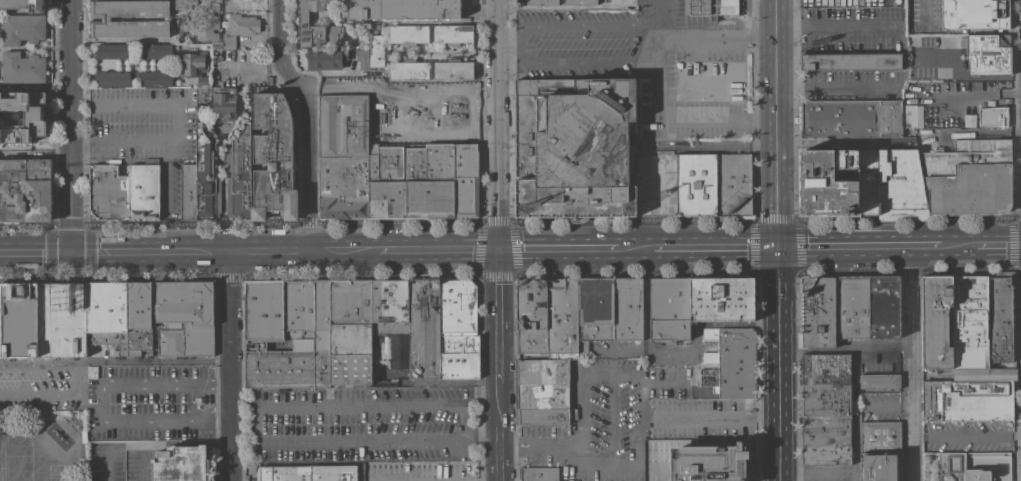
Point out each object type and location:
building: (542, 1)
building: (581, 2)
building: (24, 4)
building: (238, 4)
building: (710, 7)
building: (404, 9)
road: (925, 10)
building: (975, 14)
building: (304, 17)
building: (109, 18)
building: (243, 24)
road: (835, 24)
building: (208, 26)
building: (22, 28)
road: (652, 30)
building: (334, 34)
building: (409, 34)
building: (453, 34)
building: (943, 37)
building: (229, 41)
road: (506, 42)
road: (778, 42)
building: (217, 43)
building: (114, 50)
building: (157, 50)
building: (378, 50)
building: (982, 55)
building: (325, 58)
building: (362, 58)
road: (528, 60)
building: (851, 61)
building: (194, 65)
road: (253, 66)
building: (23, 68)
building: (409, 69)
building: (454, 69)
building: (114, 77)
building: (156, 77)
road: (838, 85)
building: (912, 87)
road: (343, 89)
building: (468, 90)
road: (975, 93)
building: (220, 102)
road: (478, 105)
road: (381, 110)
building: (34, 115)
road: (459, 115)
building: (992, 116)
building: (856, 117)
road: (306, 122)
road: (181, 123)
parking lot: (143, 124)
road: (68, 126)
building: (925, 131)
road: (34, 148)
building: (574, 148)
building: (344, 157)
building: (274, 159)
road: (778, 166)
building: (240, 176)
building: (969, 177)
building: (466, 181)
building: (201, 182)
building: (431, 182)
building: (868, 182)
building: (828, 183)
building: (387, 184)
building: (696, 184)
building: (734, 187)
building: (901, 187)
building: (26, 189)
building: (124, 192)
road: (166, 196)
road: (1019, 215)
road: (508, 223)
road: (499, 240)
road: (841, 245)
road: (922, 245)
road: (958, 245)
road: (998, 245)
road: (715, 246)
traffic signals: (779, 246)
road: (558, 247)
road: (634, 247)
road: (438, 248)
road: (479, 248)
traffic signals: (499, 248)
road: (515, 248)
road: (223, 251)
road: (34, 252)
traffic signals: (69, 252)
road: (510, 273)
building: (722, 298)
building: (458, 305)
building: (884, 306)
building: (390, 307)
building: (852, 307)
building: (670, 309)
building: (609, 311)
building: (816, 312)
building: (279, 315)
building: (321, 315)
building: (121, 316)
building: (531, 316)
building: (184, 317)
building: (1000, 317)
building: (562, 318)
building: (63, 319)
building: (21, 320)
building: (938, 321)
building: (1, 322)
building: (971, 322)
building: (692, 326)
building: (424, 328)
building: (351, 332)
building: (403, 346)
building: (459, 355)
parking lot: (881, 359)
building: (730, 362)
road: (915, 362)
road: (779, 363)
road: (229, 366)
building: (288, 369)
building: (825, 370)
building: (984, 374)
road: (642, 375)
road: (114, 380)
road: (855, 381)
building: (880, 381)
building: (542, 392)
parking lot: (121, 394)
building: (968, 400)
building: (825, 401)
road: (891, 403)
parking lot: (882, 404)
building: (198, 405)
parking lot: (609, 411)
parking lot: (705, 418)
road: (718, 418)
road: (145, 423)
road: (585, 424)
road: (1017, 433)
road: (972, 435)
parking lot: (969, 436)
building: (881, 438)
building: (825, 440)
road: (151, 443)
road: (542, 446)
building: (708, 463)
building: (181, 464)
building: (881, 467)
building: (961, 469)
parking lot: (421, 471)
building: (306, 472)
building: (538, 474)
road: (813, 475)

